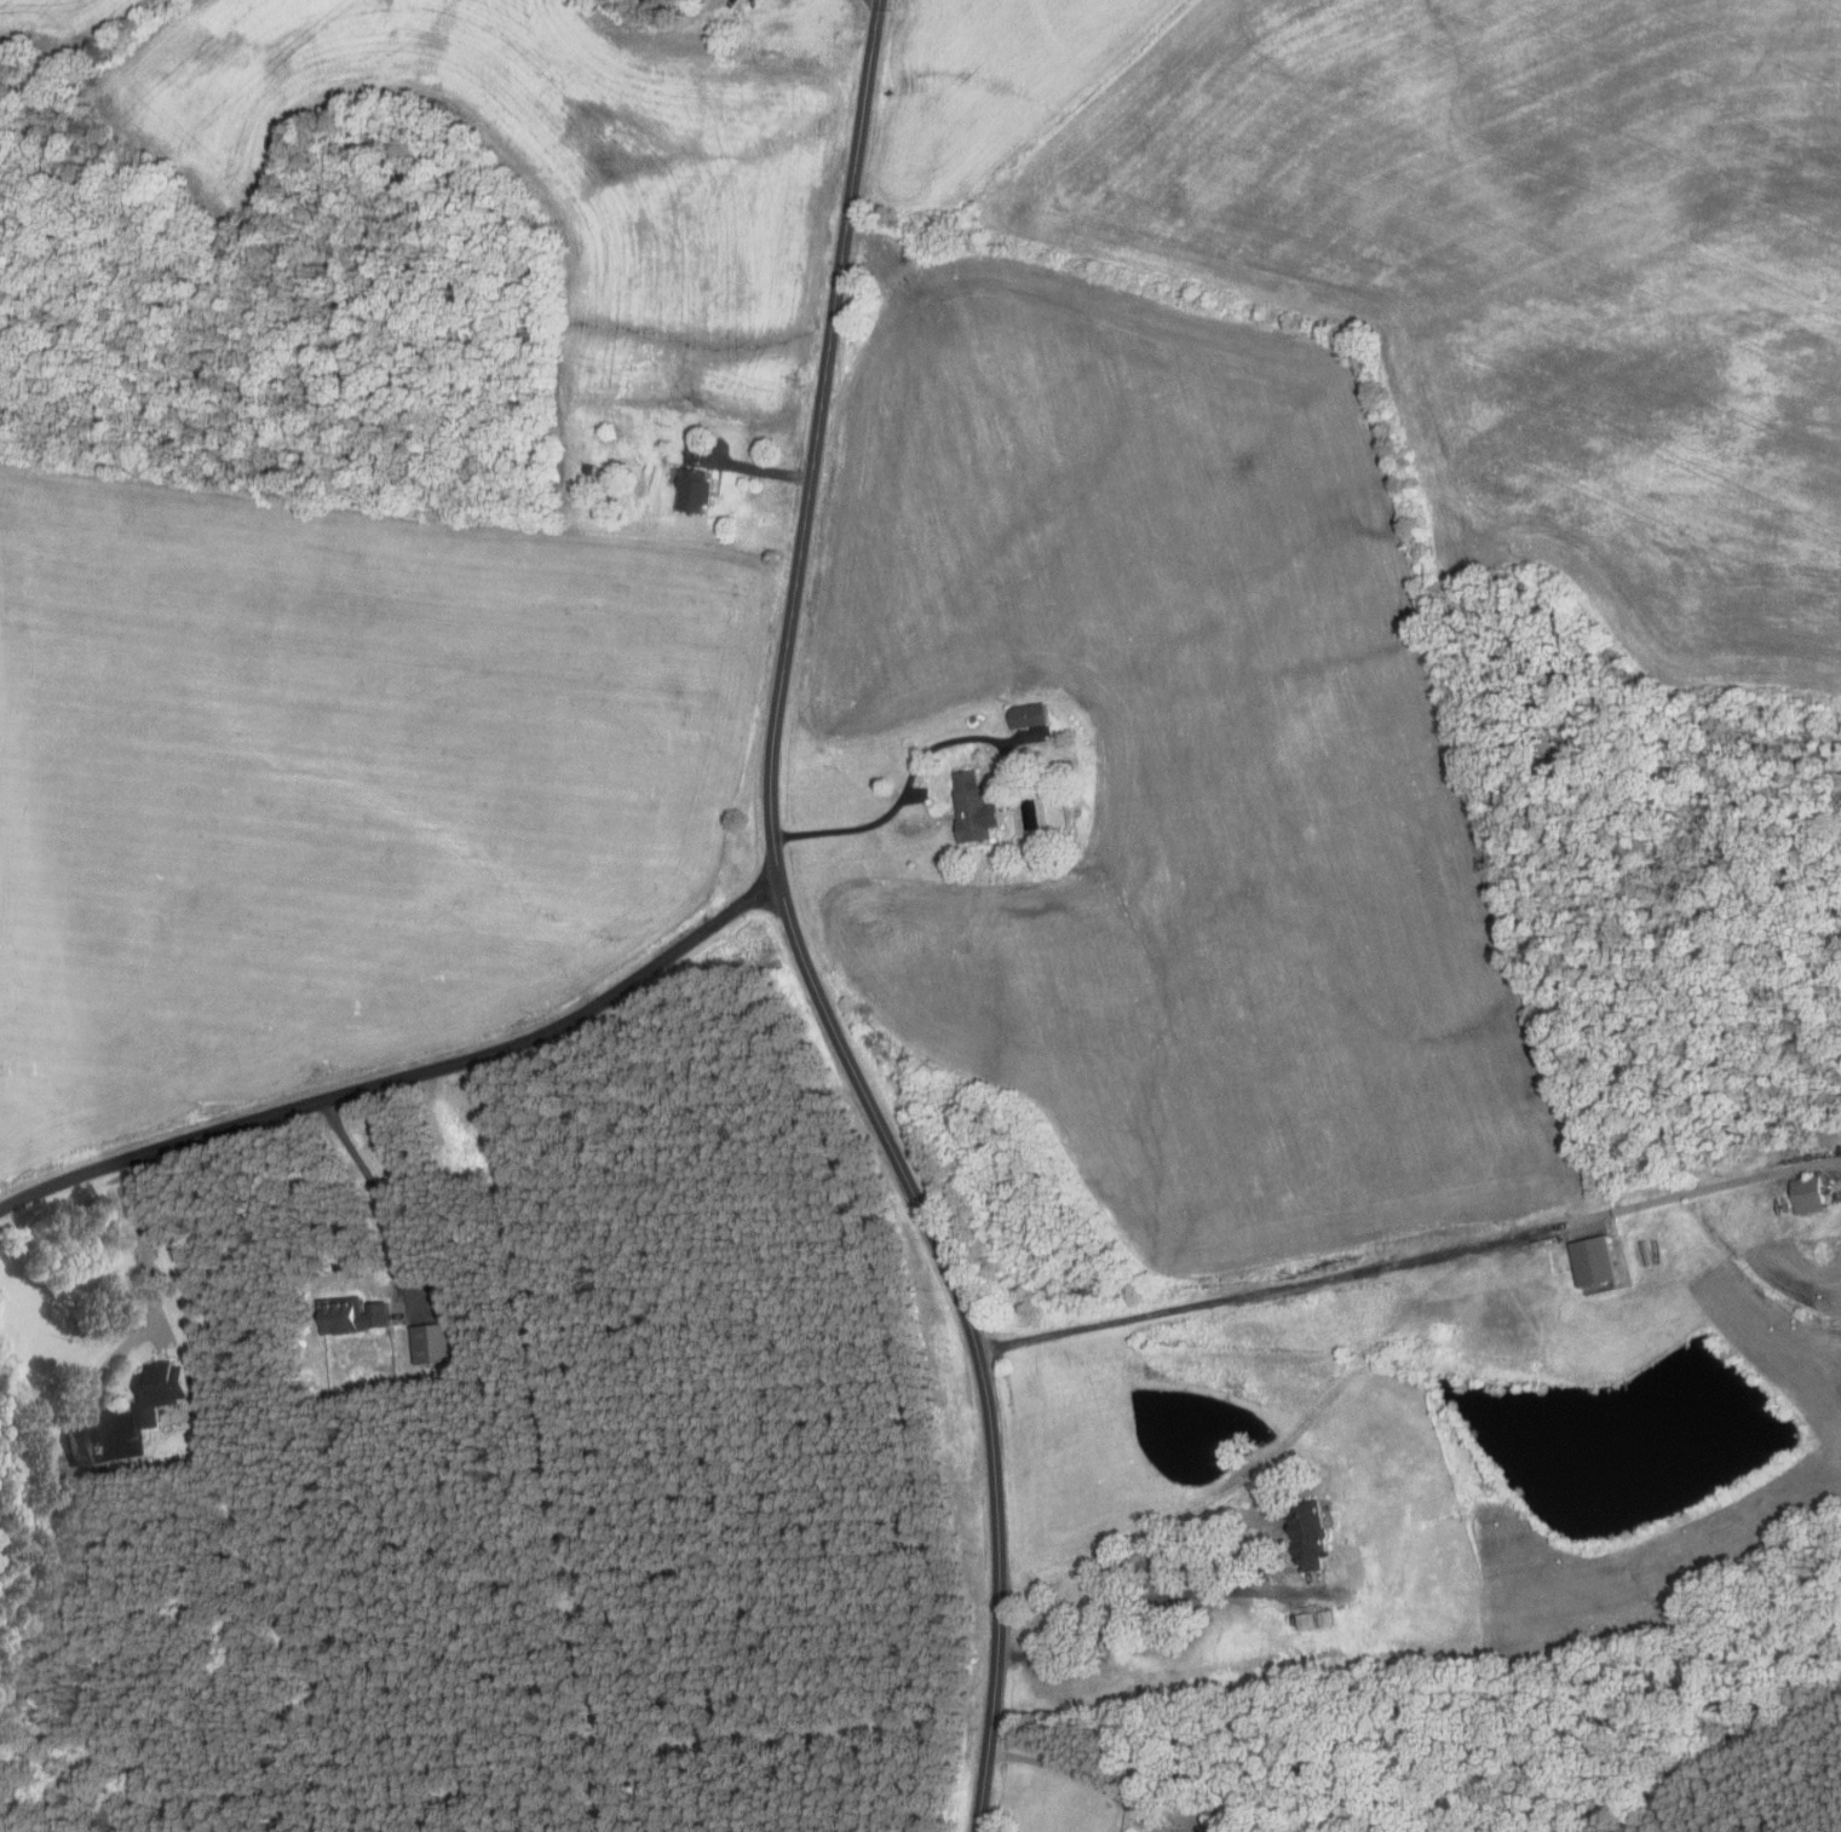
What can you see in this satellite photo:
road: (748, 466)
building: (588, 468)
building: (695, 490)
building: (1024, 716)
road: (909, 789)
building: (970, 808)
road: (794, 931)
road: (405, 1078)
road: (378, 1193)
building: (1803, 1196)
road: (142, 1240)
building: (1588, 1262)
building: (353, 1317)
building: (435, 1344)
building: (161, 1392)
building: (79, 1446)
building: (1302, 1536)
road: (1179, 1594)
road: (1083, 1778)

